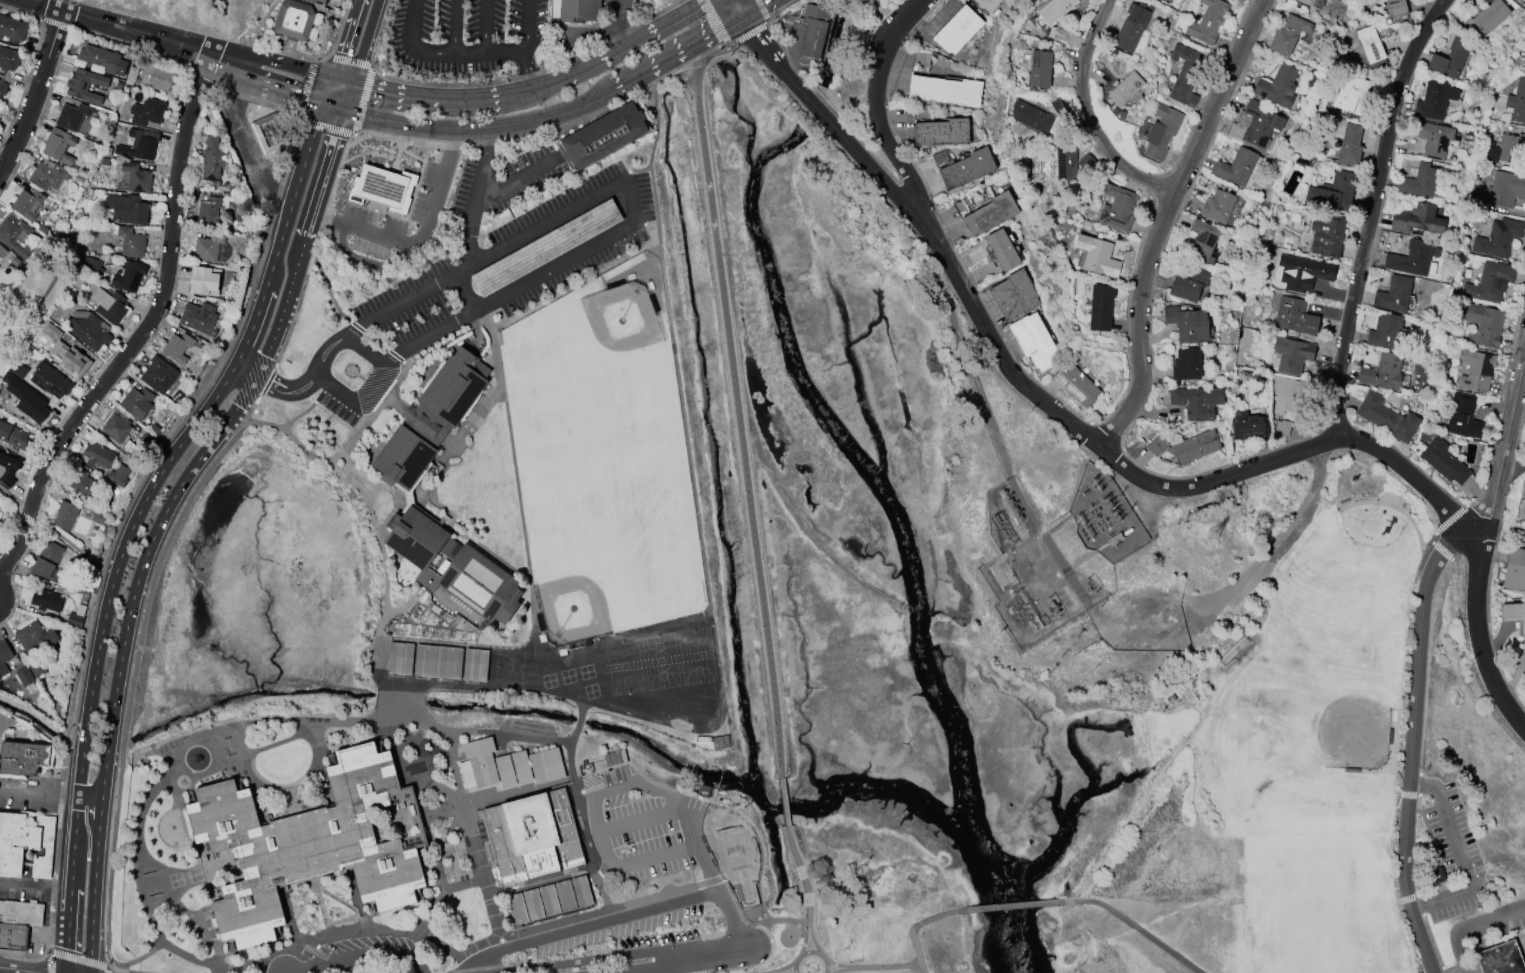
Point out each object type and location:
building: (1377, 0)
building: (321, 2)
building: (1313, 3)
building: (987, 4)
building: (1303, 4)
road: (759, 8)
building: (1396, 8)
building: (1055, 9)
building: (580, 10)
building: (1489, 15)
traffic signals: (743, 16)
building: (295, 20)
building: (1207, 21)
road: (715, 22)
road: (453, 26)
road: (488, 26)
road: (619, 26)
building: (1131, 28)
building: (12, 29)
building: (957, 29)
building: (813, 30)
road: (141, 32)
parking lot: (466, 34)
building: (1287, 35)
road: (350, 39)
road: (234, 41)
road: (369, 41)
building: (1370, 44)
road: (527, 47)
road: (448, 52)
road: (715, 54)
building: (1451, 57)
road: (609, 58)
building: (8, 59)
building: (101, 59)
building: (920, 60)
road: (294, 66)
building: (1039, 69)
building: (131, 74)
building: (1185, 74)
building: (158, 78)
traffic signals: (337, 78)
building: (0, 80)
road: (347, 80)
traffic signals: (357, 83)
building: (84, 86)
building: (1277, 86)
building: (2, 88)
building: (1125, 88)
road: (284, 90)
building: (945, 90)
road: (332, 91)
road: (32, 92)
building: (1351, 94)
road: (353, 96)
road: (425, 100)
building: (1432, 100)
building: (1517, 102)
traffic signals: (328, 104)
road: (338, 107)
traffic signals: (349, 110)
building: (147, 112)
road: (1090, 113)
building: (71, 116)
road: (556, 116)
building: (1031, 117)
road: (882, 123)
building: (1260, 123)
building: (1161, 131)
building: (269, 132)
building: (941, 132)
building: (603, 136)
road: (252, 139)
building: (1432, 139)
building: (1350, 144)
building: (57, 146)
building: (141, 146)
building: (1503, 148)
building: (942, 158)
building: (211, 160)
building: (1065, 162)
building: (1085, 162)
building: (1236, 167)
building: (967, 168)
building: (47, 175)
road: (516, 176)
building: (136, 177)
building: (1419, 181)
building: (379, 186)
building: (224, 187)
building: (1505, 188)
building: (1333, 192)
building: (26, 203)
building: (1218, 206)
building: (1117, 208)
building: (126, 209)
road: (1372, 211)
building: (210, 212)
building: (990, 214)
building: (1417, 218)
road: (472, 222)
road: (1162, 222)
road: (420, 234)
road: (619, 234)
building: (15, 235)
building: (1327, 236)
building: (1498, 238)
building: (1202, 240)
building: (131, 242)
building: (211, 248)
building: (1001, 251)
building: (2, 252)
road: (302, 256)
building: (1097, 256)
building: (1410, 259)
parking lot: (516, 265)
building: (1304, 273)
building: (129, 276)
building: (203, 280)
building: (1489, 282)
building: (1189, 283)
building: (1394, 294)
building: (1014, 295)
building: (108, 306)
building: (1101, 307)
park: (22, 315)
building: (1294, 316)
building: (197, 317)
building: (1187, 324)
building: (1485, 324)
road: (146, 327)
building: (88, 330)
road: (675, 330)
building: (1384, 330)
building: (1033, 341)
building: (176, 347)
road: (365, 351)
building: (1290, 355)
building: (70, 356)
building: (1186, 364)
building: (18, 370)
building: (1476, 370)
building: (1383, 371)
flagpole: (354, 372)
road: (247, 373)
building: (158, 375)
road: (312, 376)
building: (49, 380)
building: (1076, 384)
building: (1288, 394)
building: (25, 400)
building: (1195, 401)
building: (137, 402)
road: (309, 410)
building: (1463, 416)
building: (1386, 417)
road: (741, 420)
building: (1247, 426)
building: (115, 428)
building: (1281, 428)
building: (13, 436)
road: (1503, 443)
road: (180, 444)
building: (1186, 446)
building: (98, 456)
road: (447, 459)
park: (603, 460)
building: (1443, 461)
road: (1119, 462)
road: (517, 466)
building: (8, 469)
building: (119, 476)
building: (441, 480)
building: (84, 486)
building: (1524, 492)
road: (15, 497)
building: (65, 516)
building: (99, 517)
power tower: (1218, 536)
road: (74, 549)
power substation: (1065, 552)
building: (46, 560)
building: (1514, 569)
road: (140, 586)
building: (46, 600)
road: (1201, 605)
building: (74, 620)
building: (1523, 620)
building: (34, 636)
building: (4, 657)
building: (400, 658)
park: (699, 659)
building: (437, 661)
building: (475, 664)
park: (664, 664)
building: (36, 669)
park: (512, 669)
park: (627, 669)
building: (23, 677)
road: (595, 678)
road: (517, 689)
road: (403, 700)
road: (42, 715)
road: (393, 718)
road: (583, 721)
road: (1194, 723)
park: (1359, 734)
road: (510, 738)
road: (1412, 739)
road: (186, 750)
building: (22, 757)
road: (570, 758)
building: (481, 761)
park: (1292, 764)
building: (546, 765)
building: (521, 767)
building: (505, 771)
road: (39, 795)
road: (91, 799)
road: (594, 805)
road: (786, 805)
road: (461, 808)
road: (641, 819)
parking lot: (636, 827)
building: (533, 837)
building: (26, 844)
building: (314, 850)
park: (735, 857)
parking lot: (1457, 858)
road: (1462, 859)
road: (708, 866)
road: (36, 884)
road: (72, 886)
road: (97, 886)
road: (690, 886)
road: (805, 888)
road: (566, 896)
building: (549, 900)
parking lot: (541, 904)
road: (1013, 906)
park: (879, 911)
road: (730, 918)
road: (770, 920)
building: (17, 922)
road: (589, 923)
road: (1135, 926)
road: (1472, 927)
road: (208, 941)
road: (810, 950)
road: (449, 951)
road: (705, 954)
road: (187, 956)
road: (358, 957)
road: (78, 959)
road: (136, 959)
building: (1500, 959)
road: (578, 961)
road: (917, 962)
road: (48, 963)
road: (685, 965)
road: (920, 968)
road: (17, 969)
road: (106, 969)
road: (646, 969)
road: (782, 971)
road: (436, 972)

